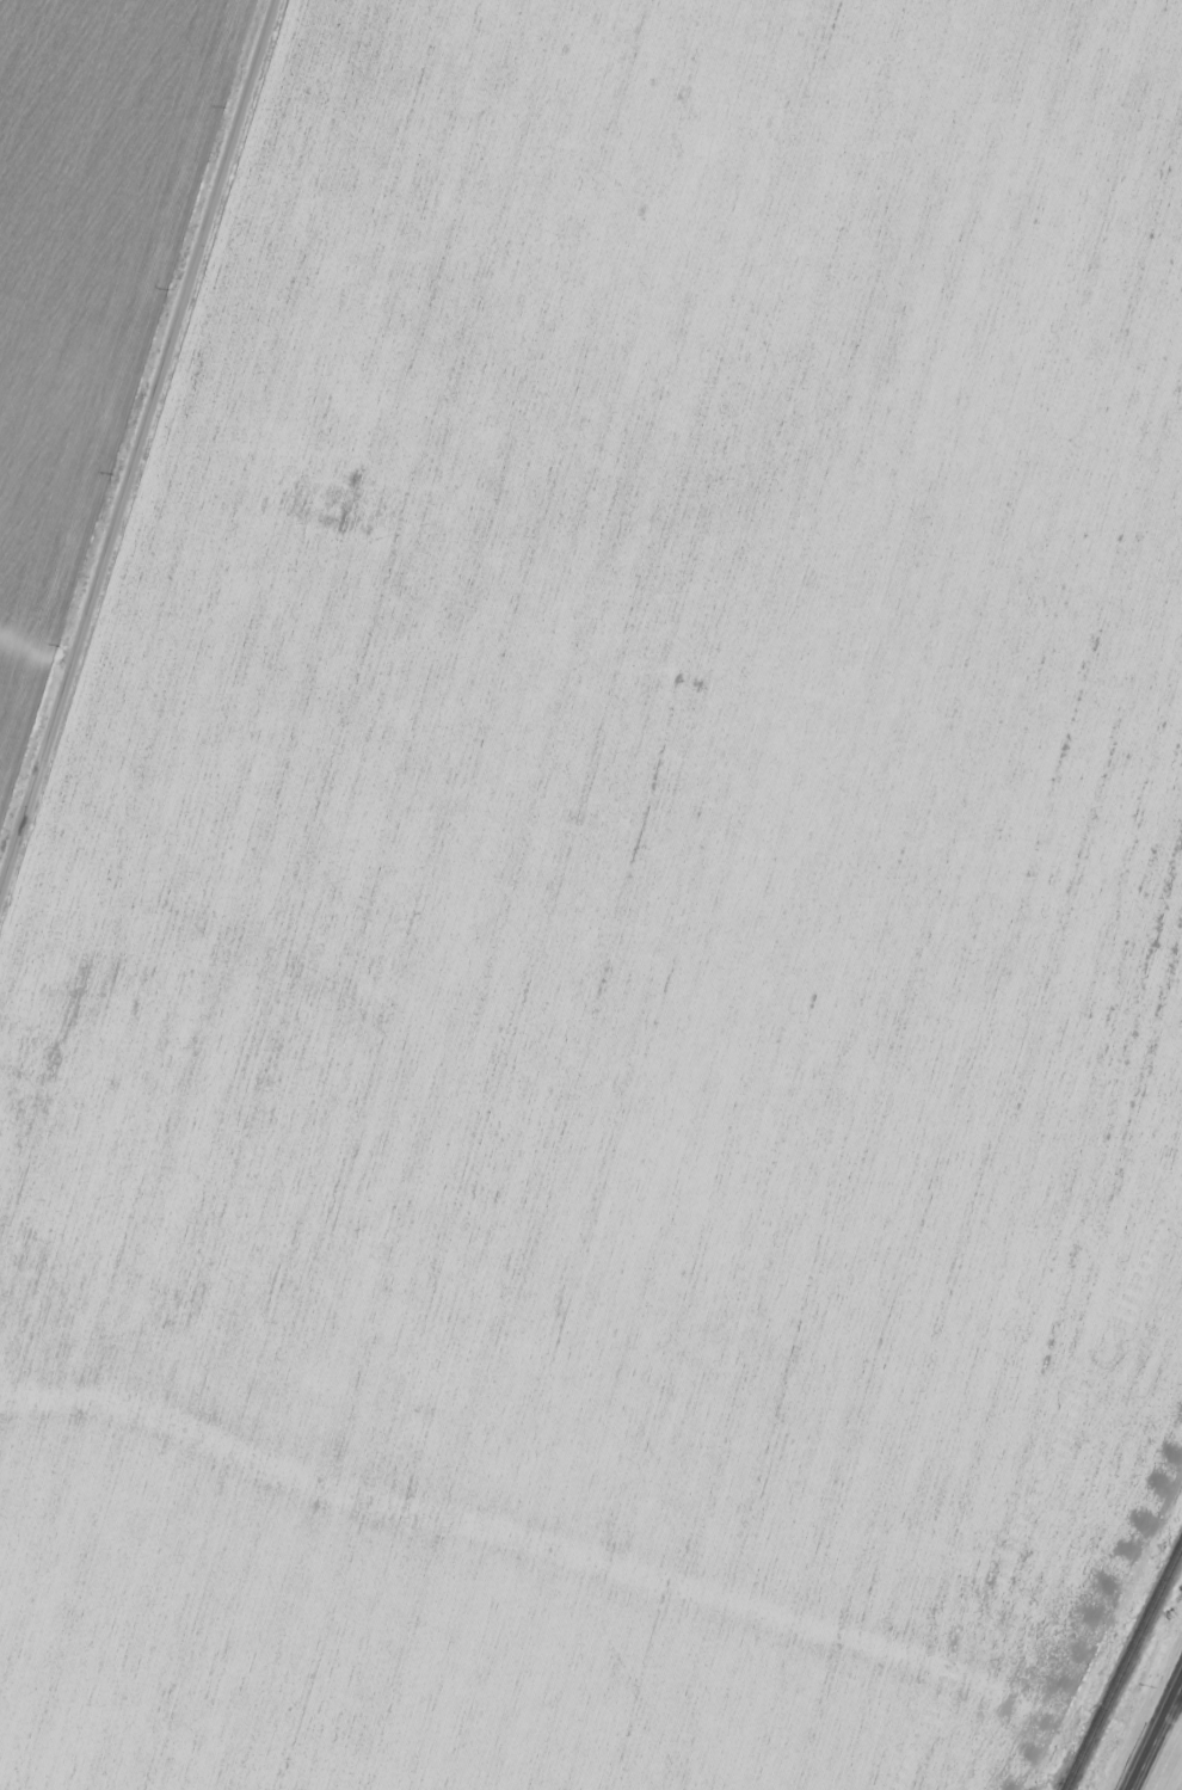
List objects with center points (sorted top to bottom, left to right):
road: (144, 455)
railway: (1122, 1666)
road: (1159, 1743)

